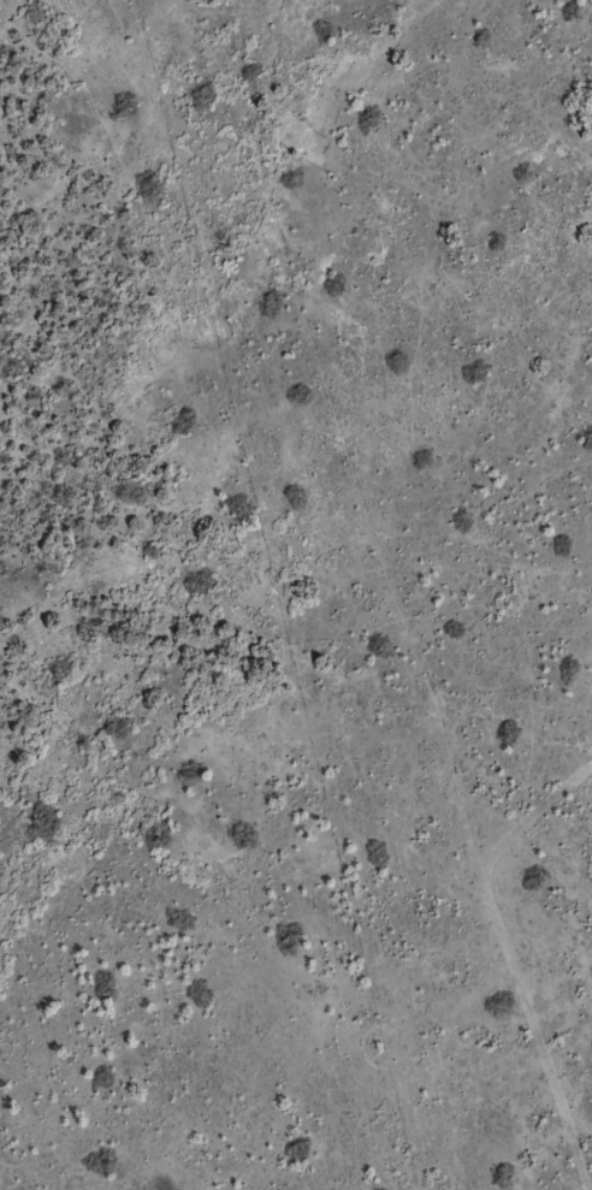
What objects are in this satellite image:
road: (431, 614)
road: (325, 1147)

